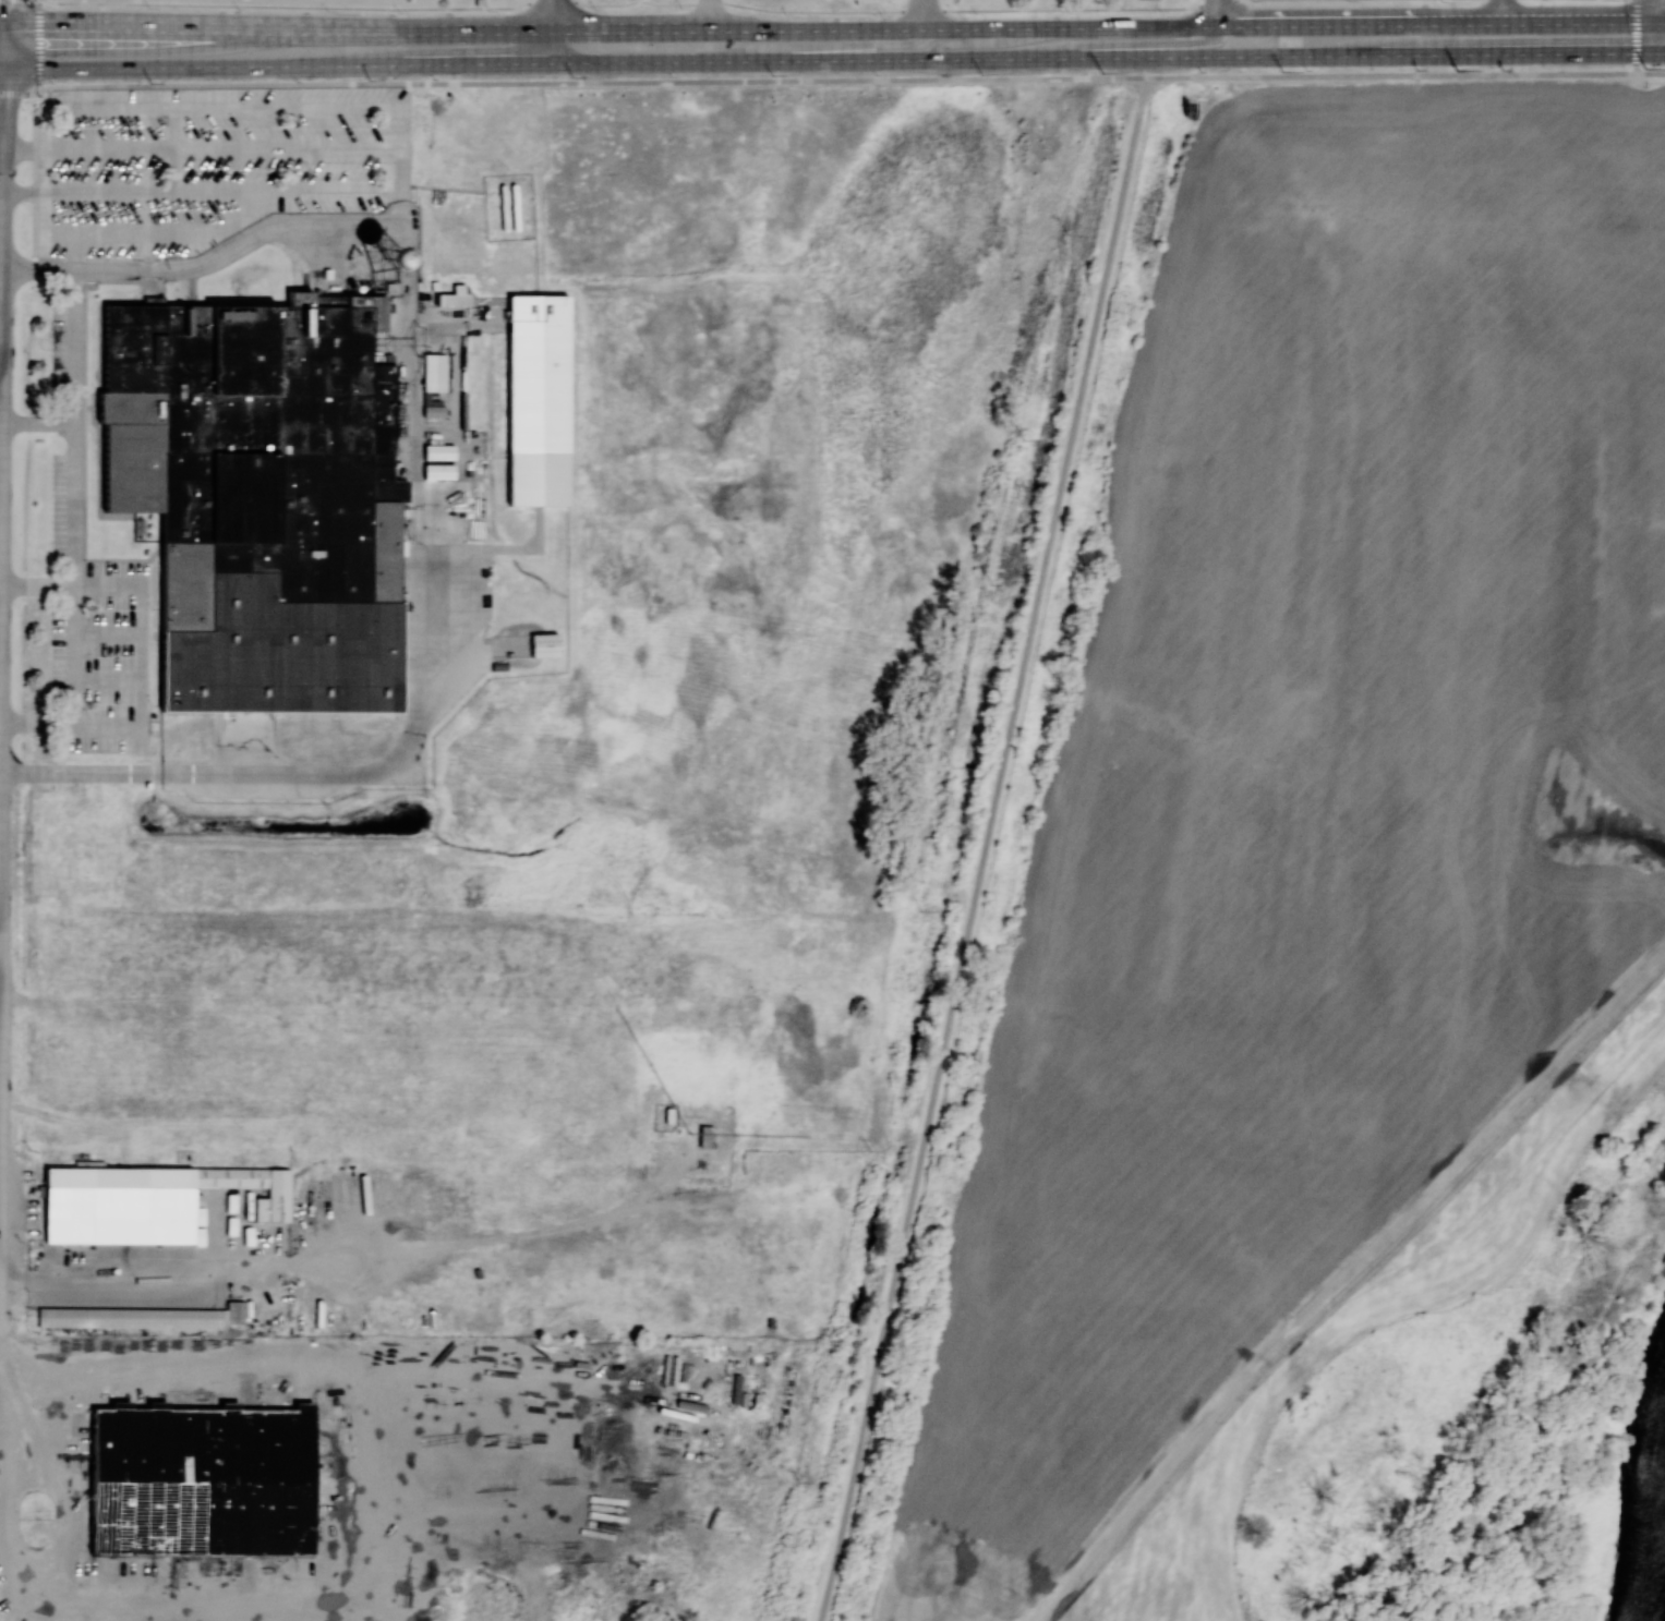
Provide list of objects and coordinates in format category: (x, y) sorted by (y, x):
road: (576, 0)
road: (638, 0)
street lamp: (150, 9)
street lamp: (594, 9)
street lamp: (681, 9)
street lamp: (242, 10)
street lamp: (490, 11)
street lamp: (329, 12)
road: (1504, 12)
road: (1216, 13)
street lamp: (402, 14)
road: (709, 14)
street lamp: (786, 14)
road: (920, 14)
street lamp: (977, 14)
street lamp: (881, 15)
traffic signals: (19, 25)
road: (1439, 25)
road: (276, 28)
road: (884, 31)
road: (553, 32)
road: (14, 35)
road: (1634, 36)
road: (981, 43)
road: (1143, 43)
road: (37, 46)
road: (856, 47)
road: (2, 55)
road: (834, 61)
power tower: (1645, 68)
power tower: (1456, 69)
road: (2, 70)
traffic signals: (4, 70)
road: (1650, 72)
road: (1391, 75)
road: (596, 82)
road: (23, 92)
street lamp: (39, 96)
road: (229, 109)
street lamp: (24, 110)
road: (45, 126)
road: (226, 148)
road: (177, 152)
road: (407, 153)
road: (45, 171)
road: (225, 194)
road: (406, 199)
road: (406, 215)
road: (46, 217)
road: (167, 240)
road: (79, 255)
building: (385, 257)
water tower: (385, 258)
road: (114, 270)
road: (1, 328)
building: (433, 372)
road: (1, 377)
building: (536, 400)
road: (40, 425)
building: (253, 464)
road: (77, 498)
road: (412, 562)
road: (2, 578)
road: (39, 589)
road: (1, 614)
building: (543, 644)
road: (0, 825)
road: (984, 849)
building: (704, 1136)
building: (229, 1177)
building: (105, 1195)
building: (274, 1198)
road: (108, 1277)
building: (234, 1311)
building: (129, 1317)
road: (1, 1354)
building: (201, 1480)
river: (1645, 1497)
road: (351, 1573)

